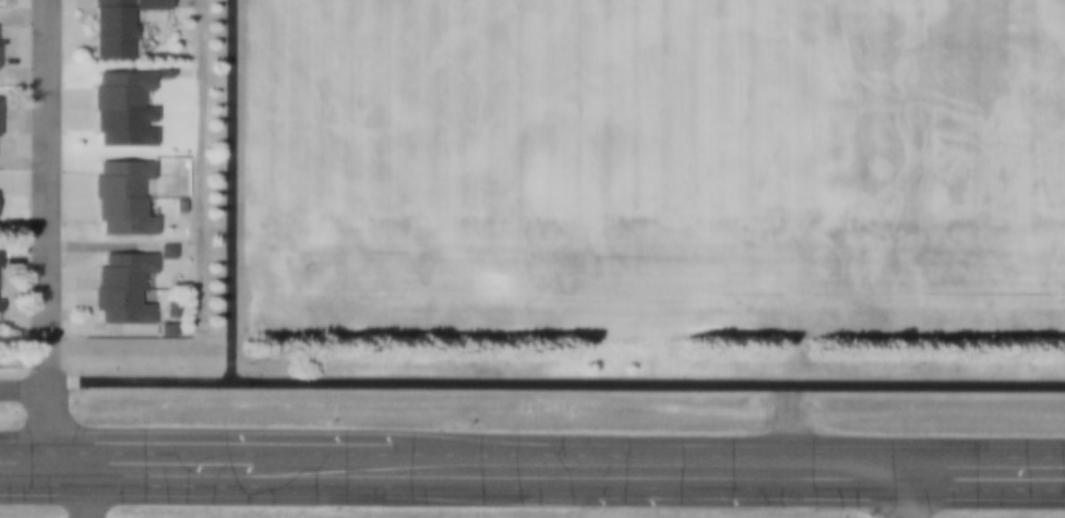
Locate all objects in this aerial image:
building: (113, 26)
building: (120, 103)
road: (198, 167)
road: (228, 192)
building: (121, 194)
road: (44, 196)
building: (178, 207)
building: (165, 250)
building: (119, 290)
building: (165, 327)
road: (552, 385)
road: (21, 391)
road: (532, 443)
road: (531, 485)
road: (99, 499)

